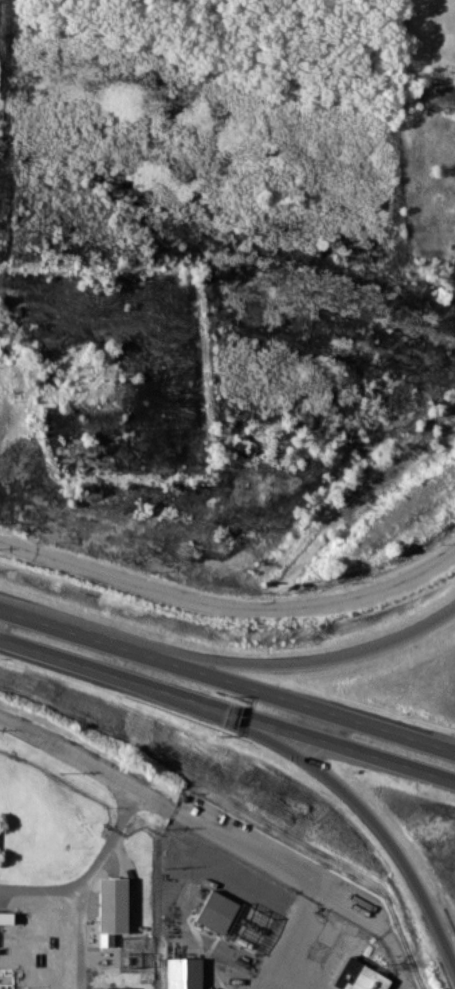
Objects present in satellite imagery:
road: (228, 605)
road: (268, 664)
road: (227, 679)
road: (227, 710)
road: (350, 792)
road: (193, 822)
road: (89, 871)
building: (111, 908)
building: (224, 913)
building: (4, 917)
road: (287, 939)
building: (183, 972)
building: (359, 976)
building: (116, 987)

